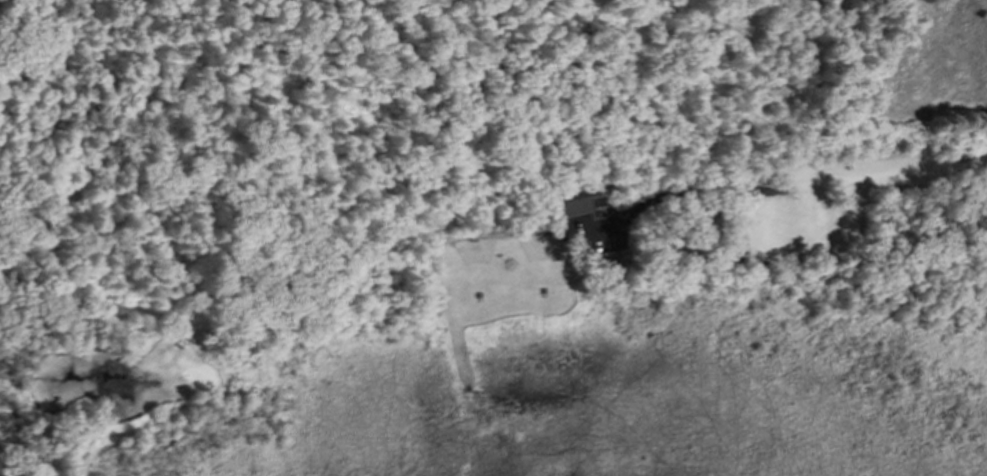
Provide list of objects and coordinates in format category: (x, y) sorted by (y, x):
building: (566, 204)

